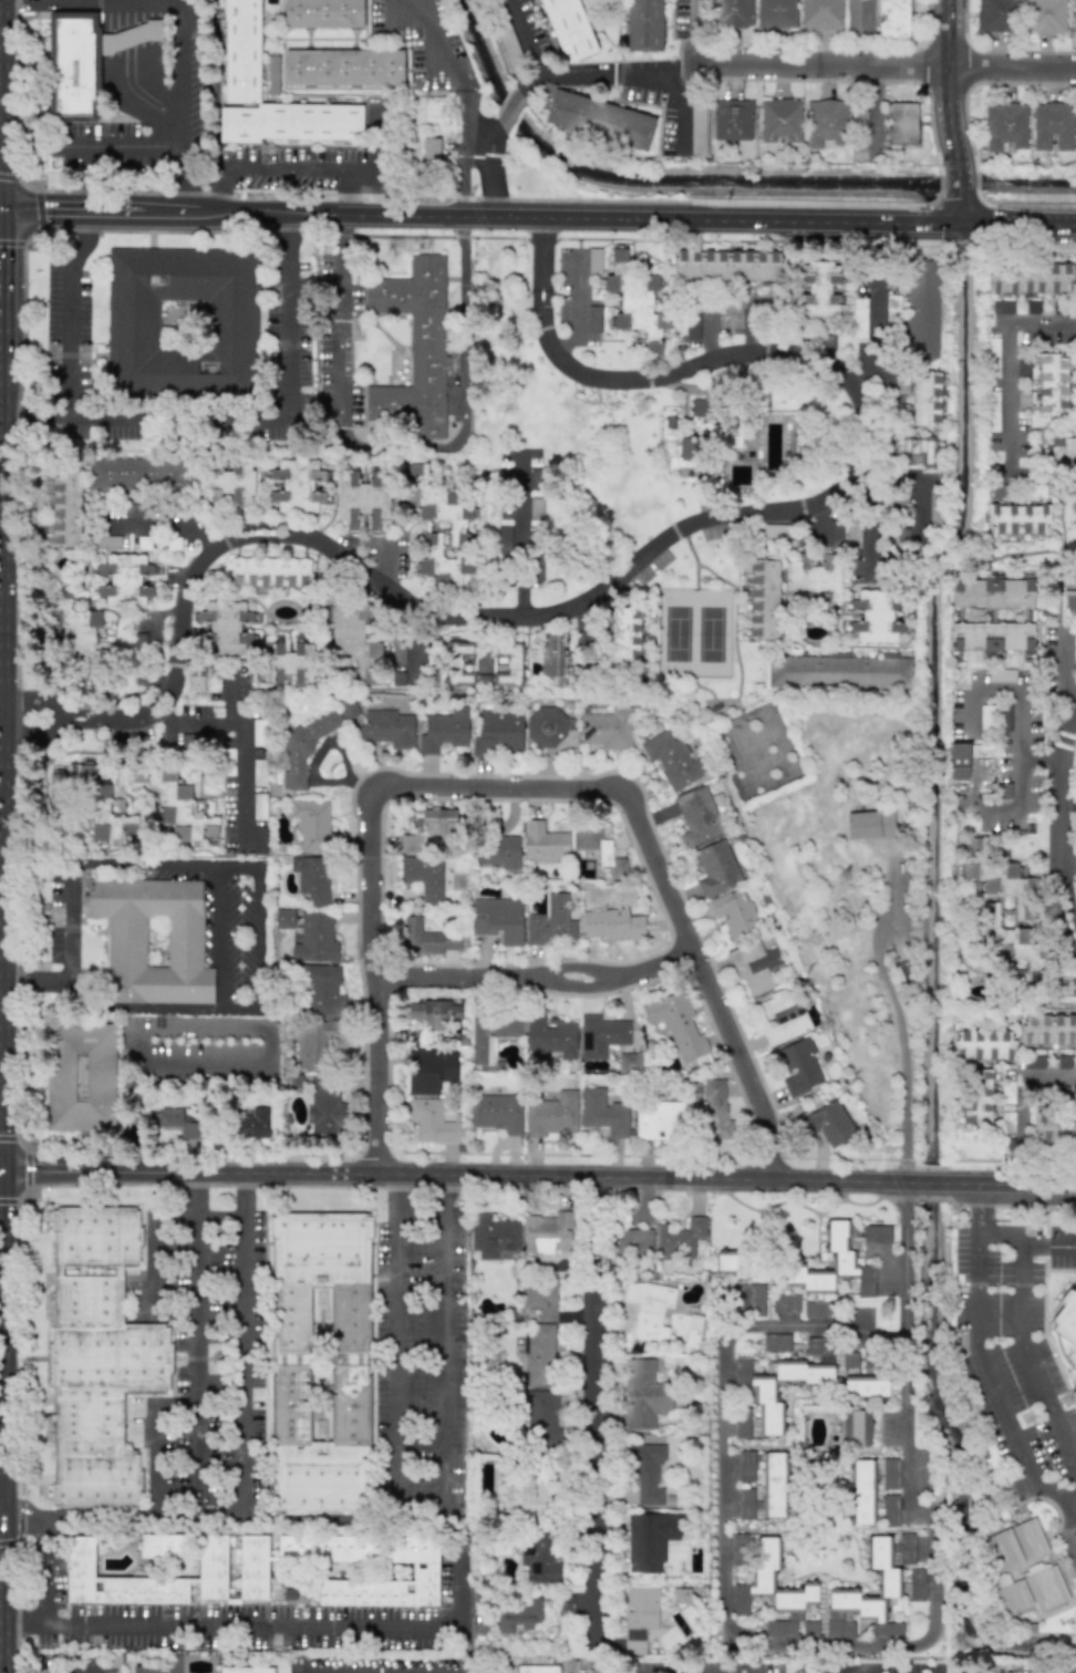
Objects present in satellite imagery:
building: (322, 13)
building: (734, 13)
building: (776, 13)
building: (820, 14)
building: (852, 14)
building: (996, 16)
building: (1045, 16)
road: (695, 17)
building: (1074, 17)
building: (892, 18)
building: (643, 25)
building: (567, 29)
road: (525, 35)
building: (509, 45)
road: (695, 49)
building: (241, 51)
building: (84, 60)
road: (820, 65)
building: (343, 66)
road: (1011, 66)
road: (676, 72)
road: (651, 75)
road: (580, 78)
road: (946, 79)
road: (453, 103)
road: (1, 104)
road: (677, 104)
road: (513, 105)
building: (732, 120)
building: (779, 120)
building: (826, 122)
building: (900, 123)
building: (1053, 125)
road: (189, 126)
building: (1005, 126)
building: (697, 128)
road: (486, 134)
building: (430, 149)
road: (290, 165)
road: (193, 172)
road: (958, 189)
road: (0, 208)
road: (538, 216)
building: (620, 255)
building: (726, 265)
building: (1031, 280)
building: (819, 290)
road: (1, 293)
road: (577, 304)
building: (892, 306)
building: (1002, 307)
road: (341, 308)
building: (638, 308)
building: (922, 309)
building: (730, 314)
building: (593, 318)
building: (859, 318)
building: (182, 322)
building: (692, 326)
road: (706, 337)
road: (873, 340)
building: (992, 345)
building: (415, 348)
road: (466, 349)
road: (1006, 363)
building: (1023, 368)
road: (689, 370)
building: (1051, 385)
building: (925, 399)
building: (1023, 399)
power tower: (652, 406)
road: (32, 415)
building: (994, 416)
road: (166, 417)
building: (714, 423)
building: (690, 450)
building: (1063, 451)
building: (915, 452)
building: (137, 473)
building: (226, 484)
building: (297, 485)
building: (1036, 490)
building: (362, 497)
building: (64, 506)
building: (898, 506)
building: (536, 508)
road: (920, 513)
building: (1017, 519)
road: (166, 523)
building: (456, 525)
building: (776, 530)
road: (871, 531)
building: (853, 533)
building: (835, 534)
road: (526, 540)
building: (108, 541)
building: (503, 541)
building: (143, 543)
building: (535, 569)
building: (270, 571)
building: (815, 578)
building: (125, 580)
building: (991, 592)
building: (763, 599)
building: (1069, 602)
road: (458, 616)
building: (876, 617)
building: (227, 627)
park: (693, 631)
power tower: (749, 637)
building: (992, 637)
building: (353, 638)
building: (624, 638)
road: (154, 639)
building: (1074, 649)
building: (397, 652)
building: (553, 658)
building: (286, 662)
building: (459, 663)
building: (507, 663)
road: (1064, 667)
building: (839, 671)
building: (1001, 675)
building: (213, 678)
building: (195, 682)
road: (1006, 690)
building: (348, 709)
road: (58, 712)
building: (985, 717)
road: (2, 719)
road: (61, 719)
road: (11, 720)
road: (196, 720)
road: (59, 724)
building: (387, 729)
building: (550, 729)
building: (608, 729)
building: (444, 730)
building: (258, 732)
building: (498, 732)
building: (304, 747)
park: (756, 750)
road: (241, 760)
building: (672, 760)
building: (959, 761)
building: (259, 772)
road: (6, 773)
road: (1018, 782)
road: (525, 796)
building: (95, 803)
building: (176, 806)
building: (259, 806)
building: (697, 816)
building: (439, 820)
building: (869, 824)
building: (312, 825)
road: (1062, 828)
building: (259, 840)
building: (544, 843)
building: (599, 848)
building: (498, 851)
road: (249, 866)
building: (716, 868)
building: (424, 876)
building: (312, 878)
power tower: (851, 879)
building: (1023, 911)
building: (734, 913)
building: (283, 918)
building: (498, 919)
building: (552, 921)
building: (611, 923)
road: (223, 937)
building: (424, 938)
building: (315, 939)
building: (153, 940)
building: (754, 965)
road: (539, 979)
road: (2, 984)
building: (1065, 987)
building: (323, 991)
building: (141, 1008)
building: (433, 1012)
road: (894, 1014)
building: (780, 1016)
building: (677, 1024)
road: (211, 1029)
building: (1048, 1031)
building: (550, 1035)
building: (601, 1035)
building: (492, 1036)
building: (315, 1043)
building: (983, 1045)
building: (1034, 1061)
building: (629, 1062)
building: (798, 1066)
building: (430, 1070)
road: (1049, 1074)
building: (80, 1076)
building: (1007, 1092)
building: (977, 1096)
building: (325, 1105)
building: (603, 1112)
building: (714, 1112)
building: (497, 1113)
building: (551, 1115)
building: (659, 1119)
building: (175, 1122)
building: (431, 1122)
building: (251, 1123)
building: (831, 1123)
building: (1055, 1127)
road: (2, 1167)
road: (540, 1174)
road: (983, 1208)
building: (549, 1233)
building: (877, 1233)
building: (493, 1236)
road: (154, 1239)
building: (679, 1239)
building: (632, 1241)
road: (1048, 1249)
road: (981, 1250)
building: (726, 1261)
building: (837, 1264)
building: (792, 1302)
building: (649, 1309)
building: (817, 1309)
building: (1066, 1328)
building: (693, 1331)
building: (539, 1332)
road: (4, 1336)
building: (776, 1343)
road: (200, 1344)
road: (248, 1345)
building: (819, 1349)
building: (97, 1356)
building: (850, 1363)
building: (320, 1364)
building: (865, 1386)
building: (769, 1393)
building: (644, 1394)
power tower: (1072, 1402)
road: (597, 1411)
building: (541, 1419)
building: (856, 1428)
road: (154, 1442)
building: (745, 1466)
building: (646, 1471)
building: (890, 1474)
building: (774, 1485)
building: (863, 1491)
building: (539, 1496)
building: (745, 1504)
road: (6, 1510)
road: (23, 1510)
building: (890, 1510)
road: (220, 1521)
road: (423, 1521)
road: (6, 1524)
road: (23, 1526)
road: (1070, 1527)
building: (650, 1539)
building: (1015, 1545)
building: (162, 1546)
building: (738, 1548)
building: (211, 1557)
building: (539, 1557)
road: (45, 1570)
building: (252, 1570)
building: (889, 1578)
building: (917, 1584)
building: (1033, 1588)
building: (772, 1590)
road: (6, 1602)
building: (639, 1615)
building: (518, 1617)
road: (25, 1622)
road: (291, 1625)
building: (810, 1629)
road: (809, 1645)
building: (173, 1663)
building: (147, 1669)
building: (537, 1669)
building: (245, 1670)
road: (74, 1672)

